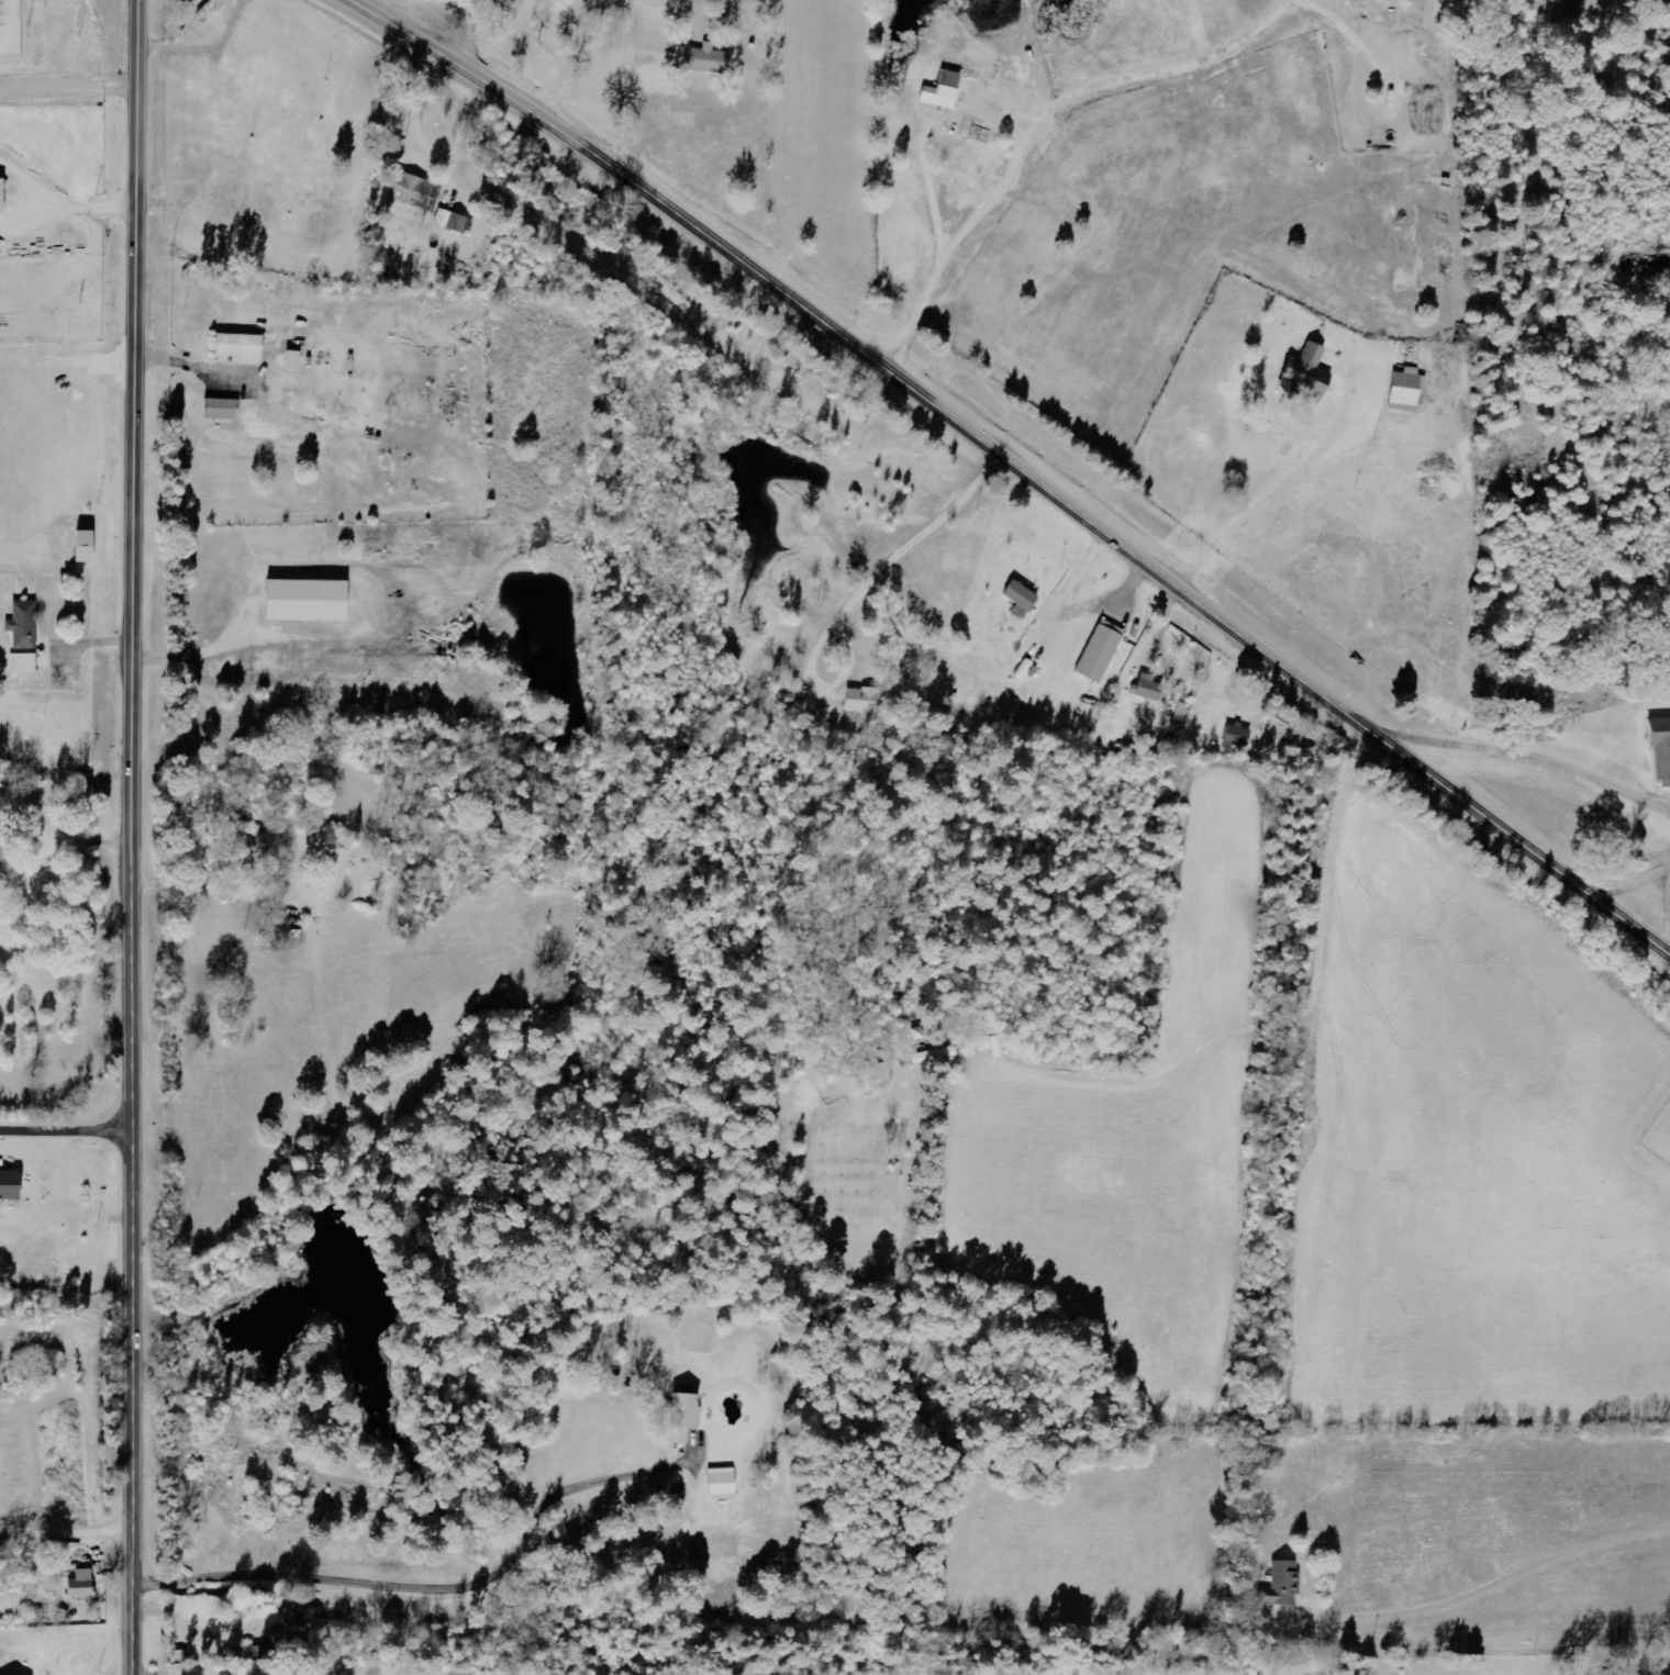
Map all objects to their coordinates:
building: (706, 59)
building: (948, 90)
road: (411, 105)
road: (1027, 119)
road: (29, 187)
building: (421, 192)
building: (4, 196)
road: (92, 217)
building: (455, 221)
road: (23, 228)
building: (245, 346)
building: (1312, 375)
building: (1404, 391)
building: (226, 410)
road: (1013, 464)
road: (1280, 492)
building: (91, 547)
building: (1025, 600)
building: (313, 601)
building: (27, 625)
building: (1104, 651)
building: (27, 665)
building: (1151, 689)
building: (870, 702)
building: (1240, 736)
building: (1658, 745)
road: (1528, 758)
road: (132, 837)
road: (71, 856)
building: (342, 874)
road: (527, 1126)
road: (64, 1131)
building: (13, 1184)
building: (688, 1416)
building: (726, 1482)
building: (86, 1585)
building: (1285, 1585)
building: (286, 1637)

